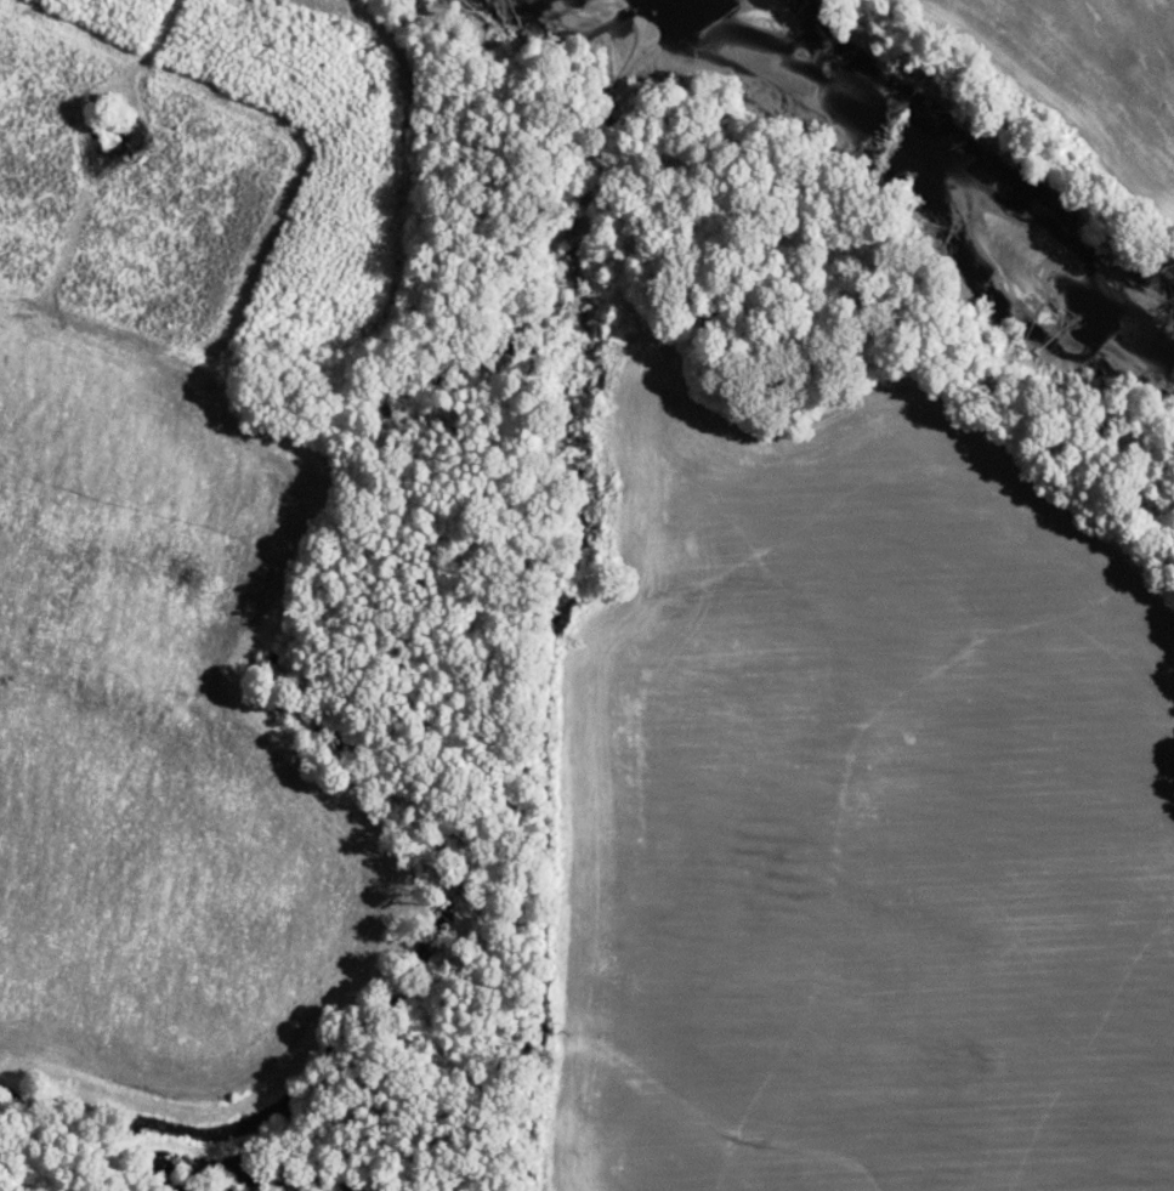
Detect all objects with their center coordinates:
river: (953, 163)

